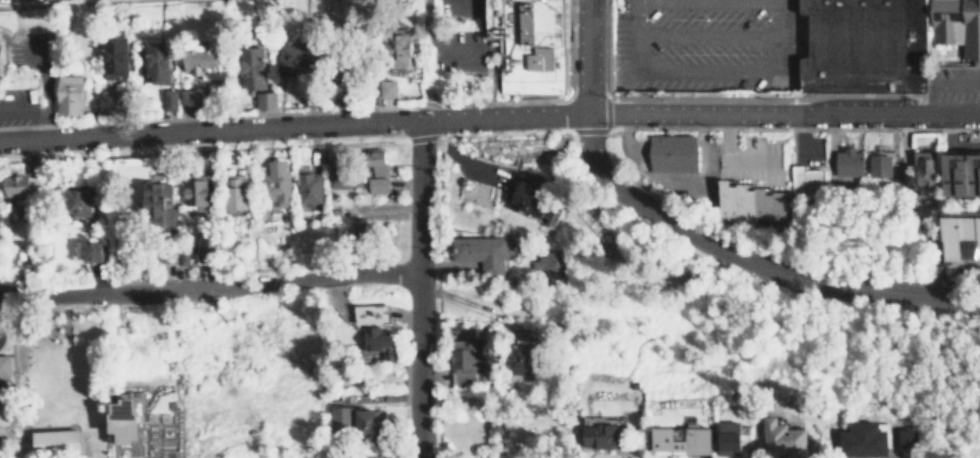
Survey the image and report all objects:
road: (707, 1)
road: (633, 16)
building: (957, 26)
road: (782, 36)
building: (528, 44)
parking lot: (694, 45)
building: (860, 45)
building: (395, 46)
building: (2, 51)
road: (634, 53)
building: (111, 55)
road: (585, 56)
building: (296, 57)
building: (154, 62)
building: (199, 62)
building: (249, 68)
parking lot: (951, 83)
road: (940, 84)
building: (390, 88)
building: (67, 94)
building: (172, 100)
building: (190, 100)
building: (267, 100)
building: (107, 104)
road: (489, 116)
building: (675, 153)
building: (377, 162)
building: (849, 162)
building: (880, 164)
building: (920, 172)
building: (339, 173)
building: (961, 174)
building: (804, 179)
building: (277, 182)
building: (34, 183)
building: (378, 184)
building: (17, 186)
building: (307, 188)
building: (236, 191)
building: (196, 192)
building: (533, 199)
building: (78, 201)
building: (751, 204)
building: (159, 205)
building: (962, 236)
building: (94, 250)
building: (200, 252)
building: (479, 252)
building: (548, 261)
road: (747, 263)
road: (208, 288)
road: (416, 288)
building: (374, 342)
building: (523, 353)
building: (462, 361)
building: (3, 364)
park: (56, 382)
building: (339, 415)
building: (127, 418)
road: (20, 420)
building: (364, 422)
building: (602, 434)
building: (683, 438)
building: (730, 438)
building: (783, 438)
building: (57, 439)
building: (865, 439)
building: (908, 443)

